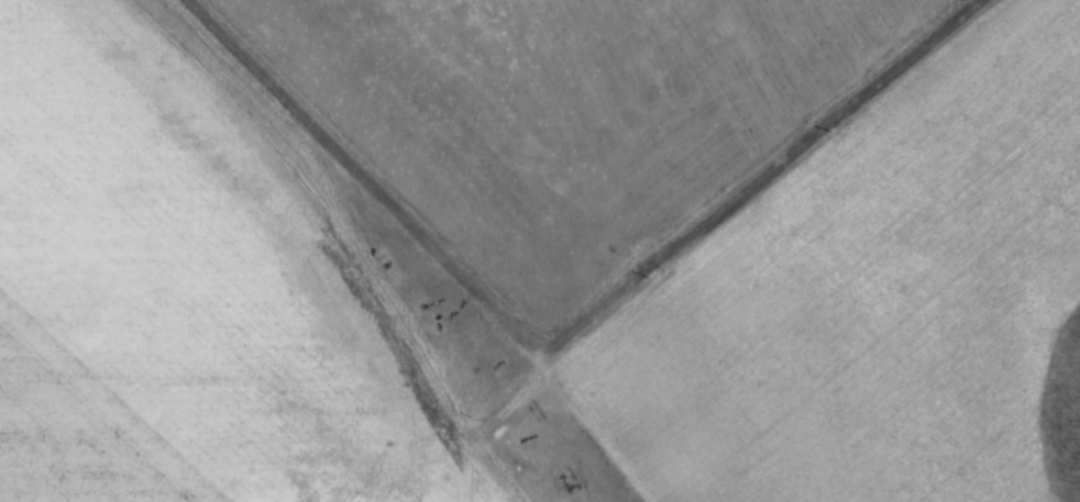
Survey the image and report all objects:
crop: (565, 122)
road: (341, 225)
road: (729, 235)
crop: (161, 286)
crop: (825, 302)
crop: (453, 491)

